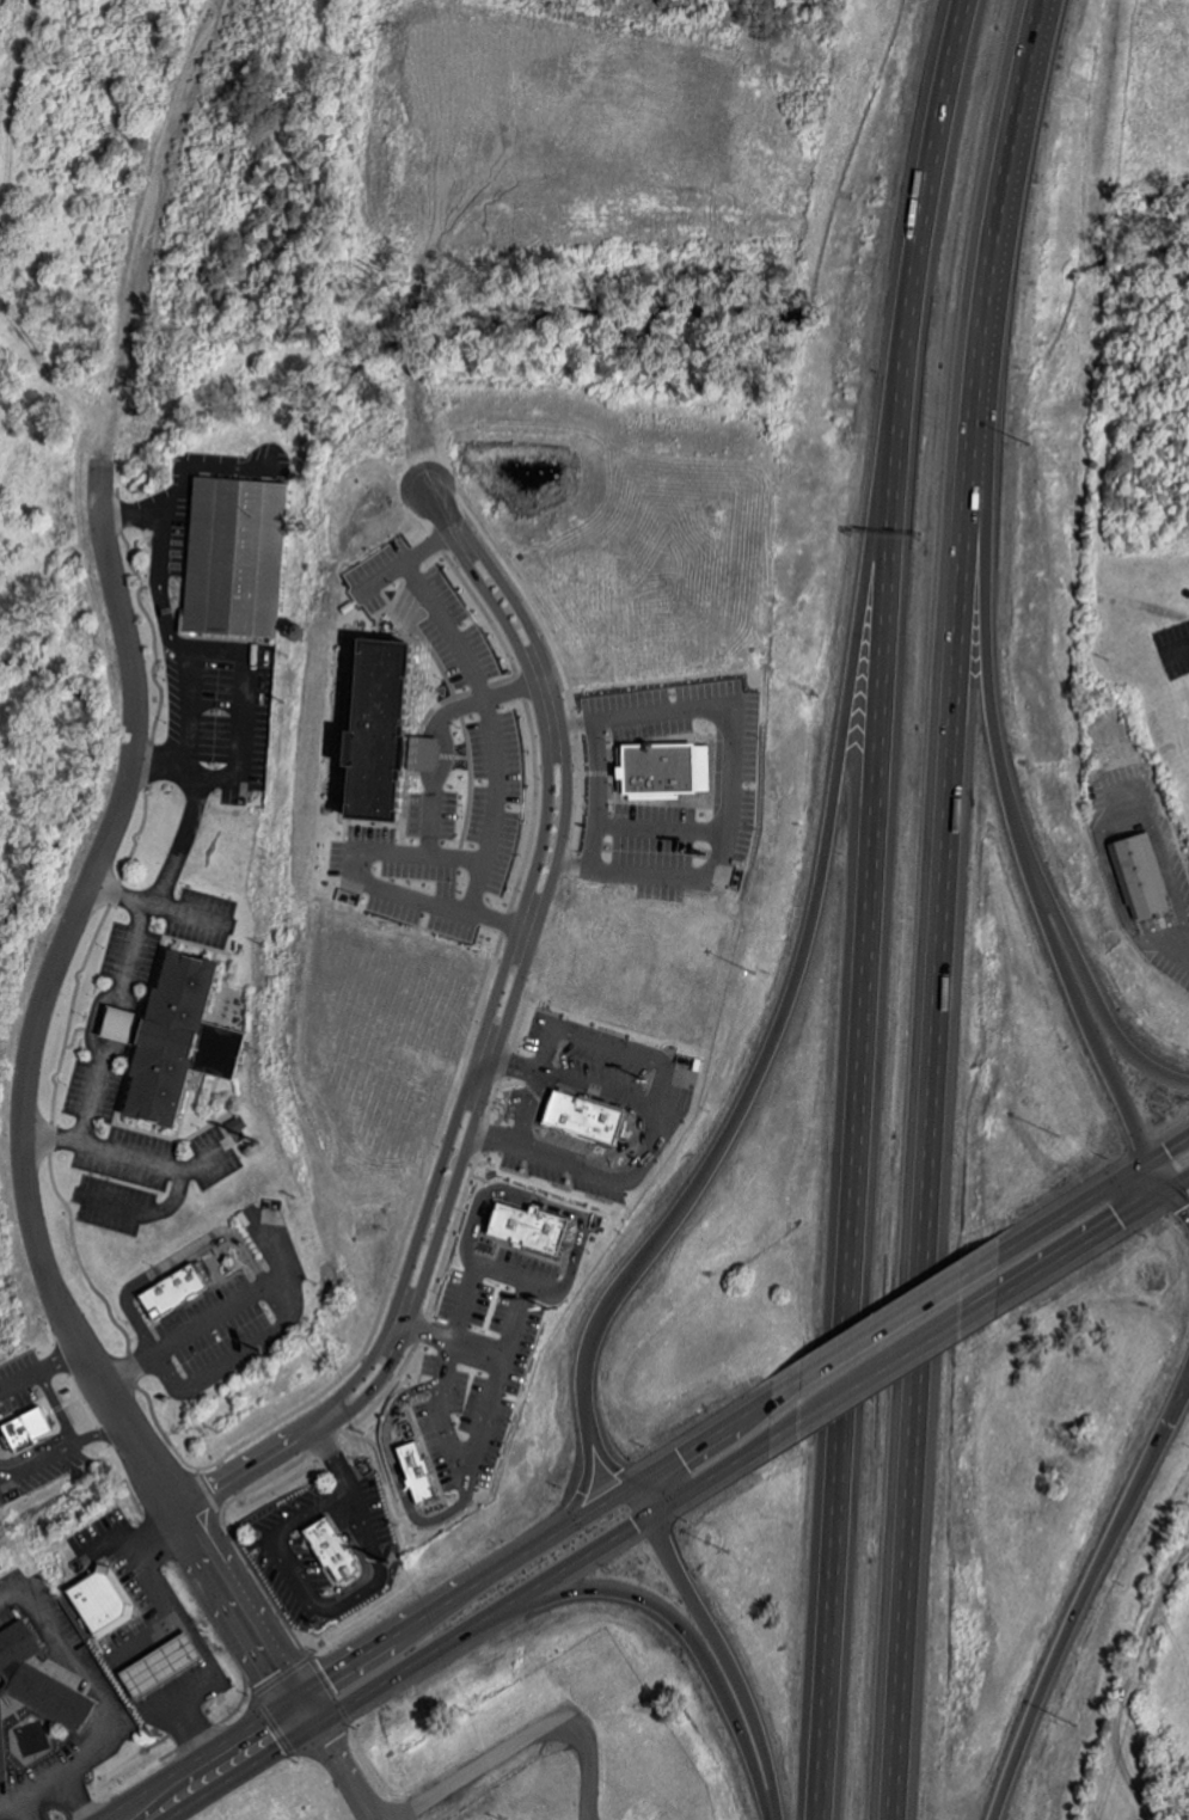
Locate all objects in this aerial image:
road: (441, 509)
building: (238, 557)
road: (168, 629)
road: (1183, 645)
road: (483, 700)
road: (443, 730)
building: (354, 731)
road: (1003, 762)
building: (649, 770)
road: (729, 774)
road: (594, 792)
road: (1096, 804)
road: (658, 828)
road: (174, 853)
building: (1136, 875)
road: (376, 887)
road: (869, 907)
road: (940, 907)
road: (799, 955)
road: (91, 1035)
building: (190, 1040)
road: (607, 1044)
road: (1092, 1046)
road: (508, 1058)
road: (23, 1099)
road: (526, 1107)
building: (594, 1115)
road: (491, 1139)
road: (651, 1147)
traffic signals: (1138, 1164)
road: (1157, 1185)
road: (1091, 1191)
traffic signals: (1169, 1194)
building: (535, 1224)
road: (1092, 1242)
road: (177, 1257)
road: (503, 1270)
road: (281, 1281)
building: (184, 1289)
road: (882, 1323)
road: (39, 1371)
road: (884, 1371)
road: (59, 1405)
road: (488, 1411)
road: (327, 1418)
building: (36, 1428)
road: (62, 1448)
road: (331, 1457)
road: (584, 1459)
road: (247, 1467)
building: (425, 1470)
traffic signals: (630, 1482)
traffic signals: (661, 1510)
building: (337, 1549)
building: (106, 1598)
road: (1085, 1598)
road: (314, 1605)
road: (430, 1606)
road: (470, 1626)
road: (688, 1631)
road: (713, 1631)
road: (137, 1644)
building: (16, 1646)
building: (166, 1665)
building: (55, 1696)
road: (520, 1741)
building: (4, 1744)
road: (335, 1755)

